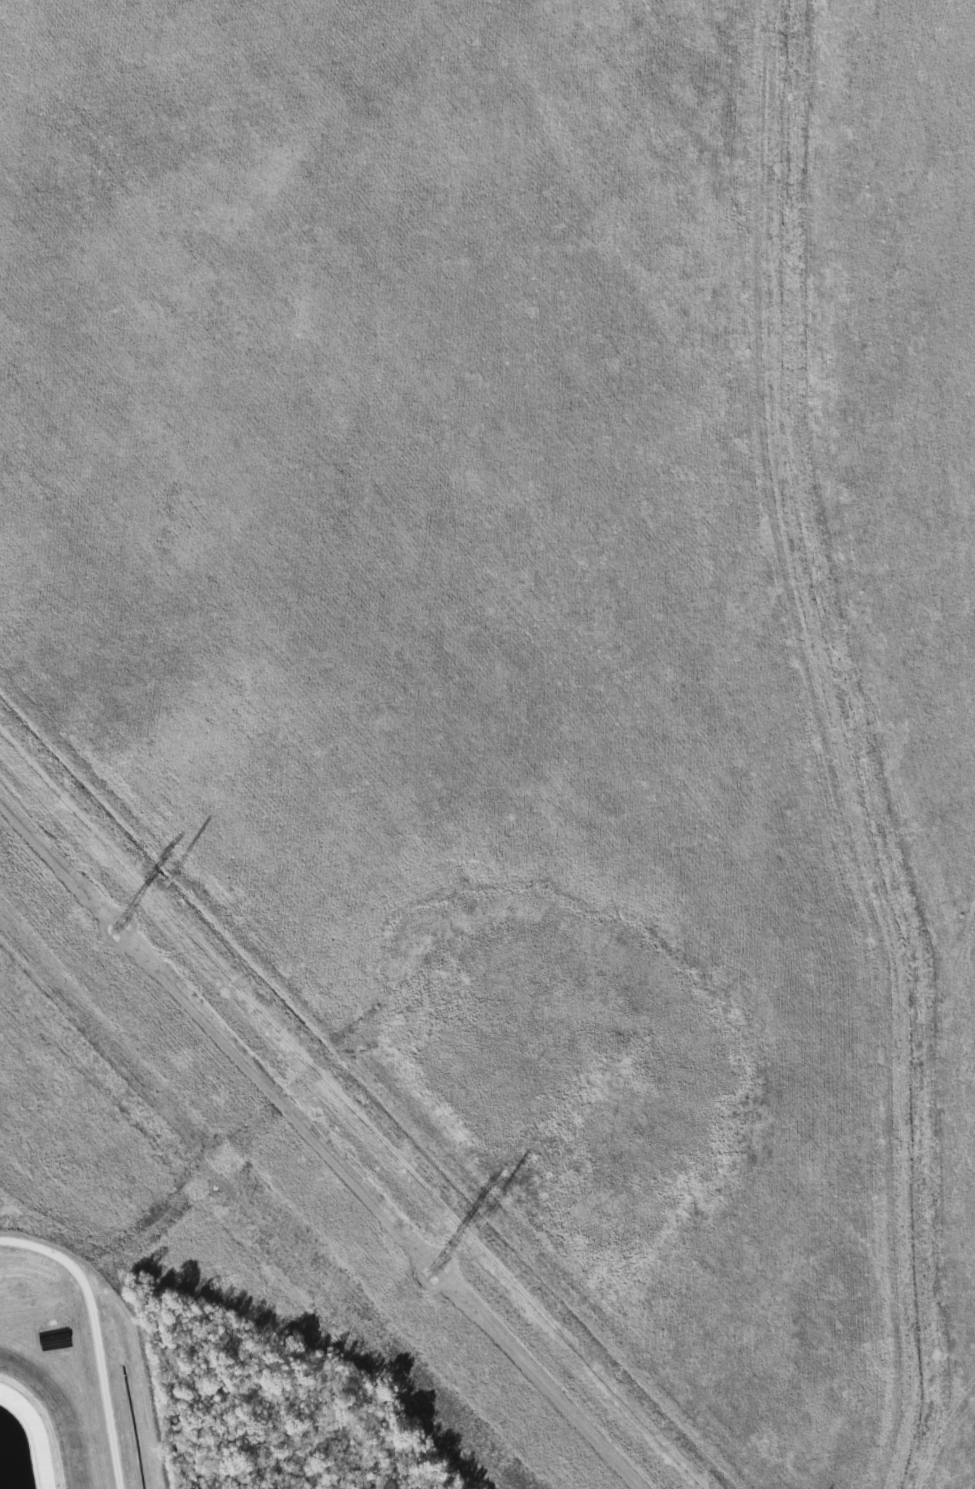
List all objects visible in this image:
power tower: (178, 893)
power tower: (130, 926)
power tower: (473, 1210)
power tower: (433, 1270)

